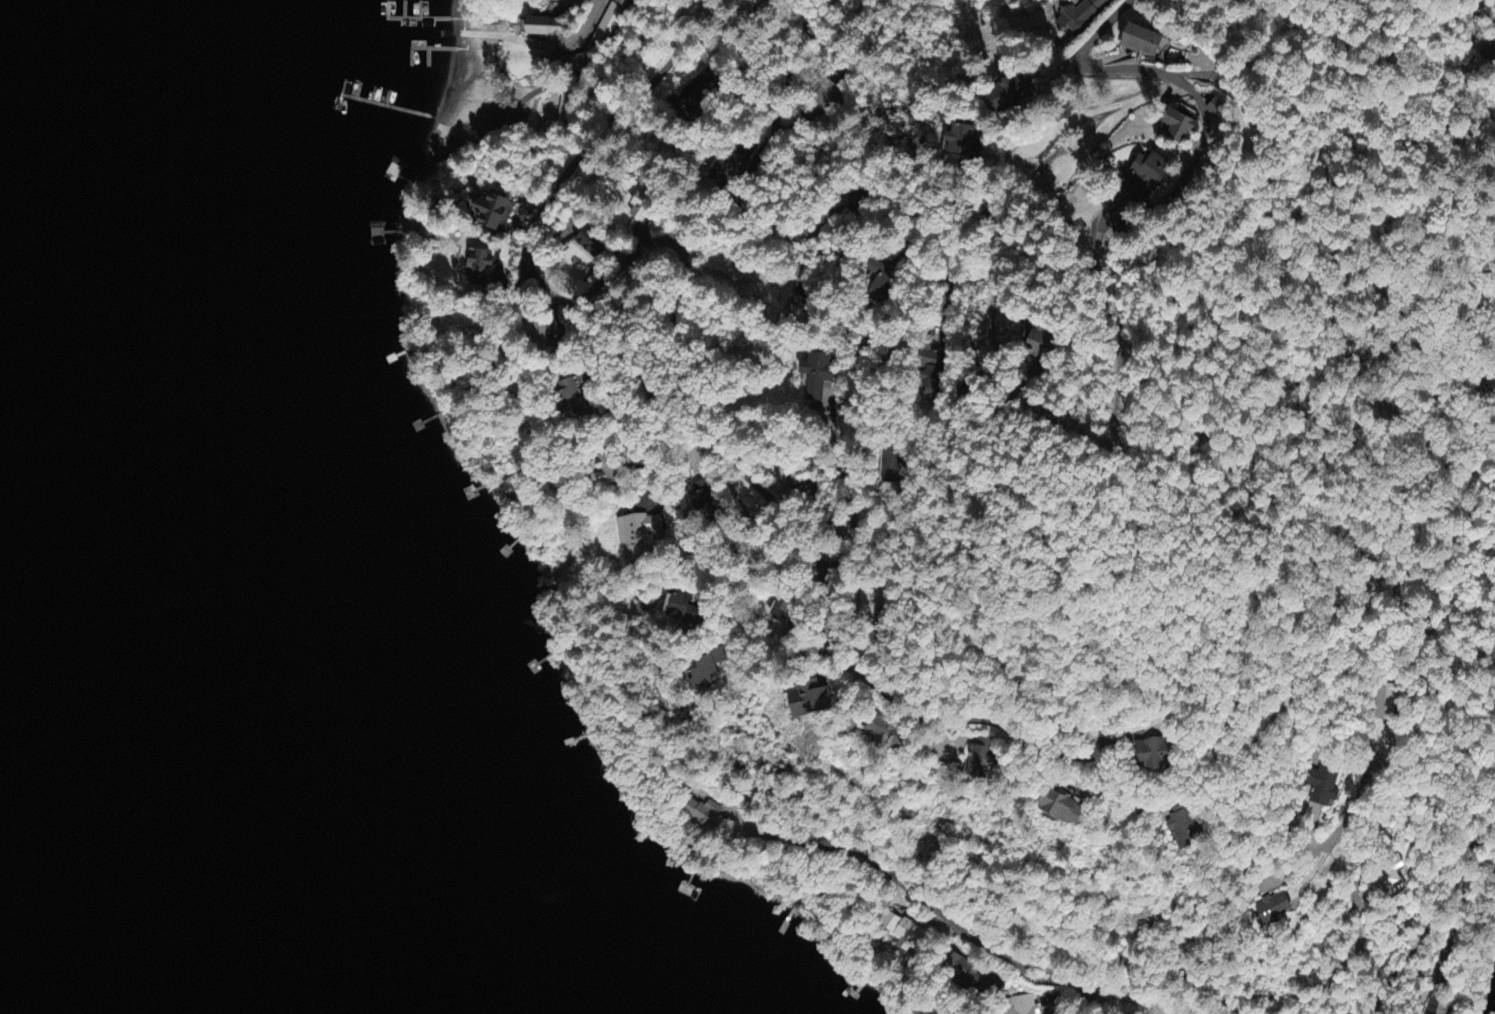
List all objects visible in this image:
building: (1081, 16)
building: (546, 29)
road: (1099, 30)
building: (1143, 43)
road: (797, 62)
building: (700, 96)
building: (826, 96)
building: (1008, 96)
building: (1218, 111)
building: (1180, 128)
building: (962, 141)
building: (728, 172)
building: (1151, 173)
building: (642, 206)
building: (493, 213)
building: (592, 245)
building: (479, 266)
building: (882, 280)
building: (796, 310)
building: (540, 337)
road: (673, 339)
building: (1038, 340)
building: (817, 376)
building: (931, 377)
building: (569, 394)
building: (892, 466)
building: (798, 475)
building: (702, 495)
building: (638, 529)
river: (317, 574)
building: (681, 609)
building: (781, 611)
building: (707, 670)
building: (809, 699)
building: (1383, 704)
road: (907, 712)
building: (887, 734)
building: (1154, 755)
building: (980, 760)
building: (1323, 787)
building: (1064, 810)
building: (702, 813)
building: (1182, 827)
road: (1374, 844)
building: (1381, 890)
building: (1275, 909)
road: (1432, 919)
building: (910, 936)
road: (980, 945)
building: (965, 972)
road: (1089, 987)
building: (1024, 1005)
building: (1438, 1008)

